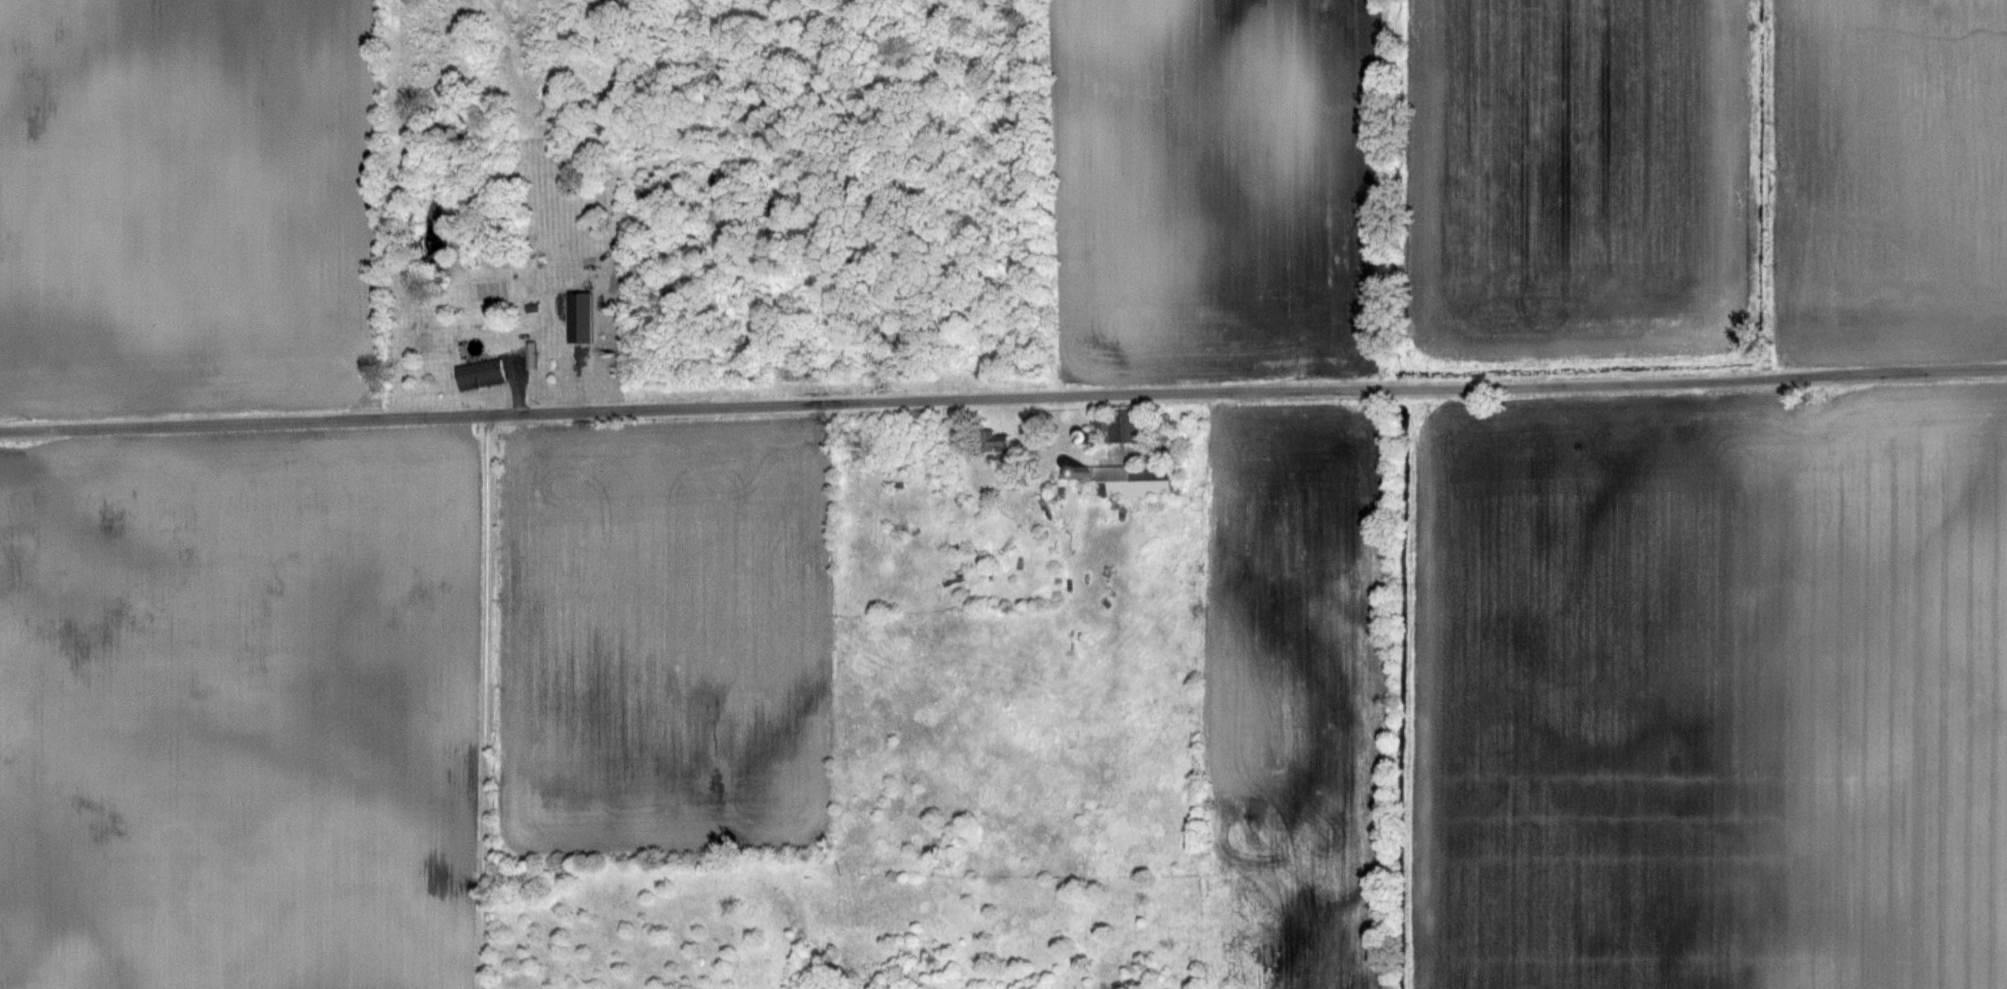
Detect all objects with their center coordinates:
building: (578, 317)
building: (478, 374)
road: (1003, 397)
building: (1128, 426)
building: (996, 441)
building: (1125, 480)

